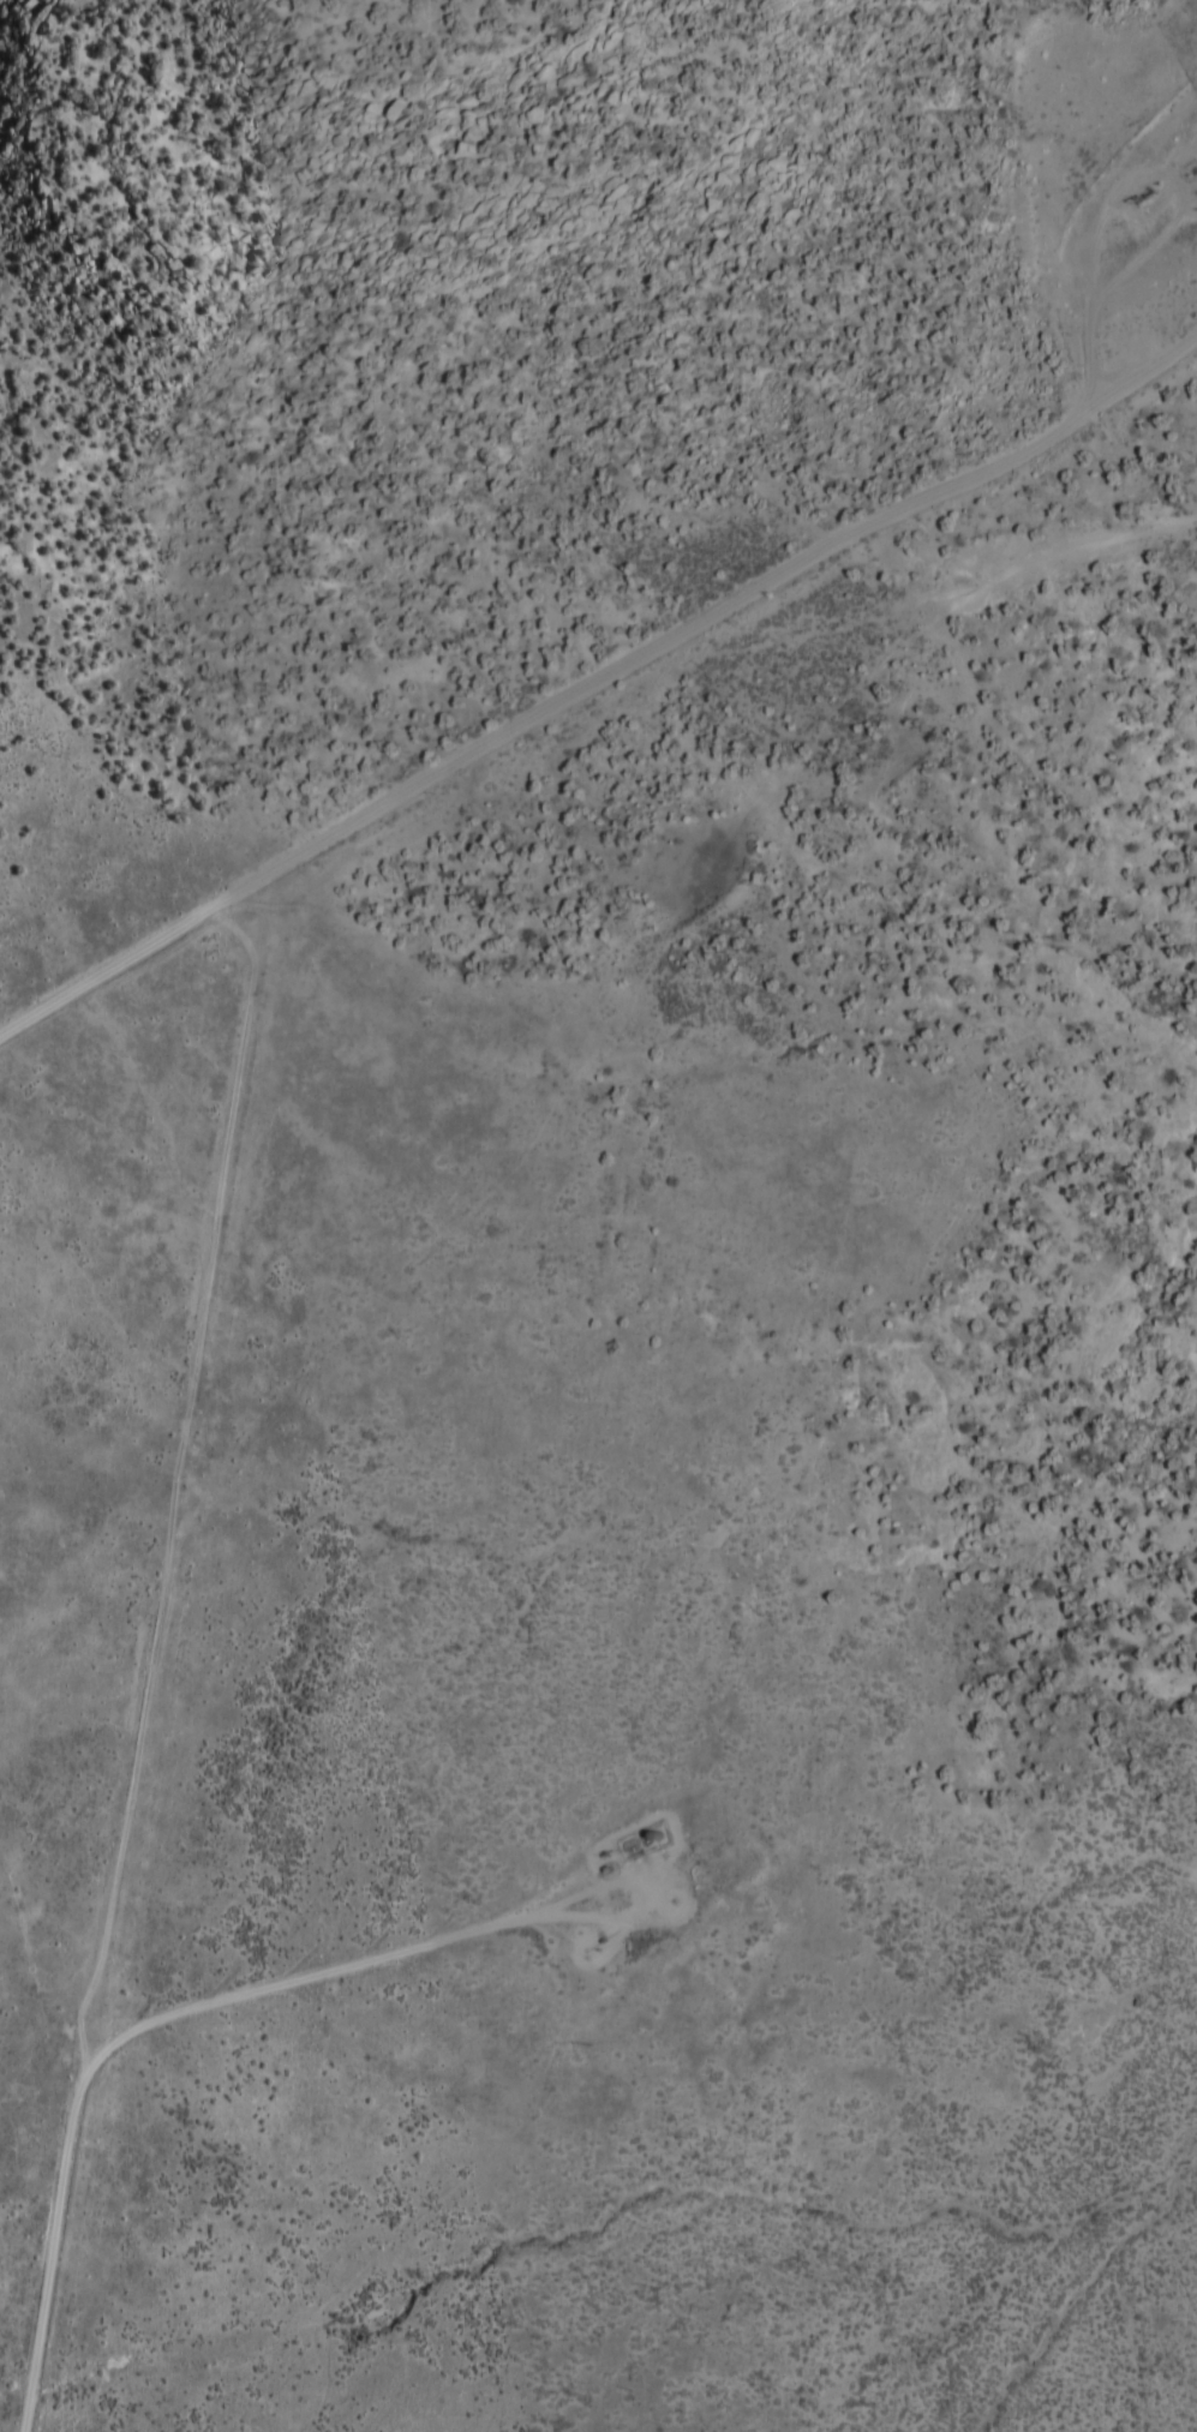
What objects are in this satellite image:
road: (114, 966)
road: (201, 1112)
road: (315, 1991)

